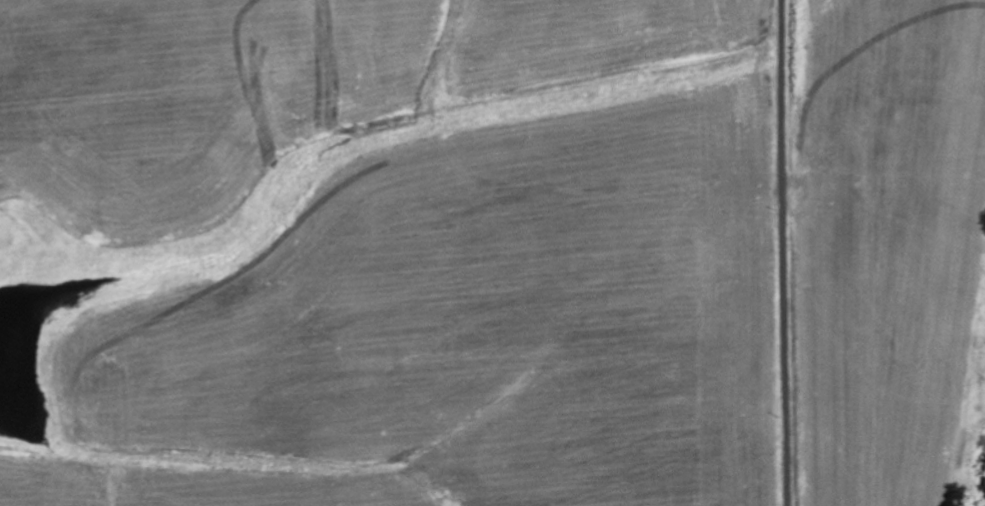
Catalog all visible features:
road: (785, 253)

